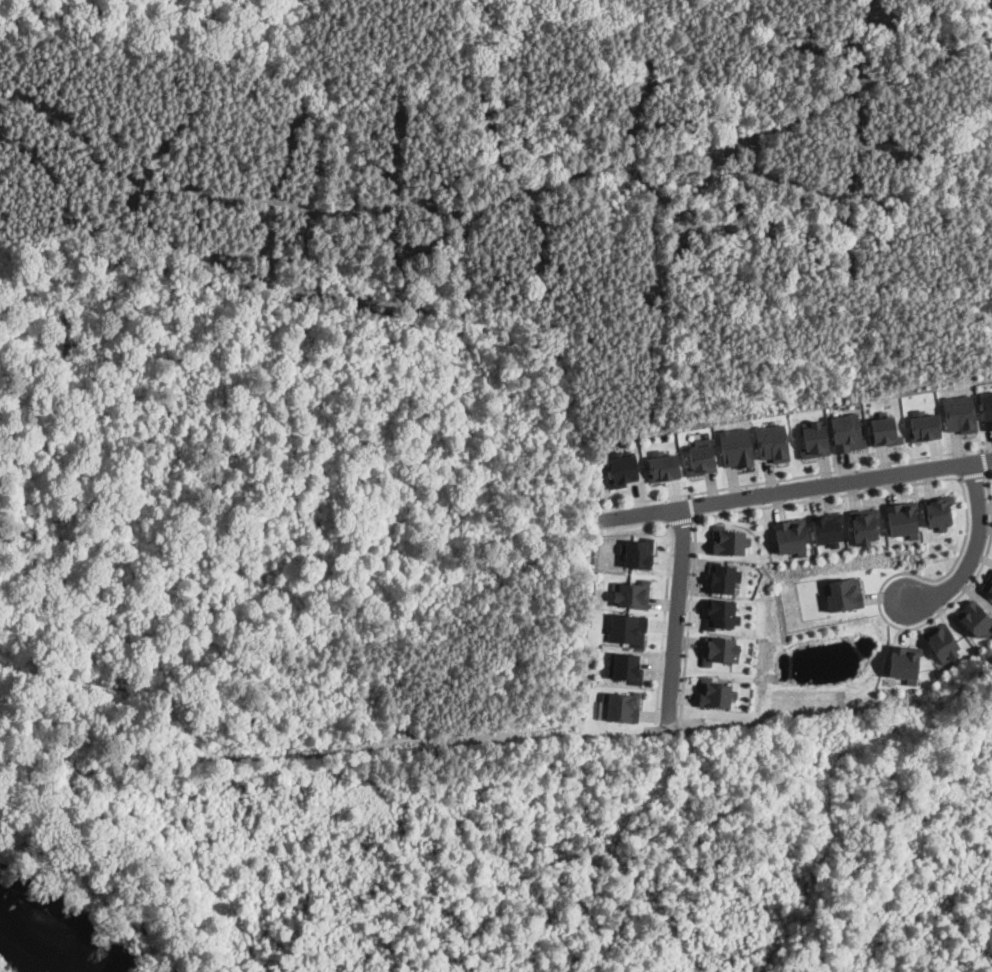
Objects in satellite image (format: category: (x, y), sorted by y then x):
building: (987, 409)
building: (960, 413)
building: (924, 425)
building: (884, 430)
building: (846, 432)
building: (815, 439)
building: (772, 442)
building: (736, 446)
building: (701, 459)
road: (984, 459)
building: (663, 465)
building: (622, 467)
road: (989, 471)
road: (972, 474)
road: (798, 475)
road: (942, 477)
road: (794, 488)
road: (691, 505)
building: (939, 510)
building: (901, 518)
road: (679, 521)
building: (864, 524)
building: (827, 528)
building: (789, 535)
building: (728, 540)
road: (973, 550)
building: (638, 552)
building: (722, 577)
building: (988, 582)
road: (666, 590)
building: (632, 593)
building: (844, 593)
road: (674, 613)
building: (720, 613)
building: (974, 617)
building: (627, 628)
building: (941, 641)
building: (719, 649)
building: (904, 662)
building: (625, 666)
building: (715, 693)
building: (621, 705)
river: (51, 936)

